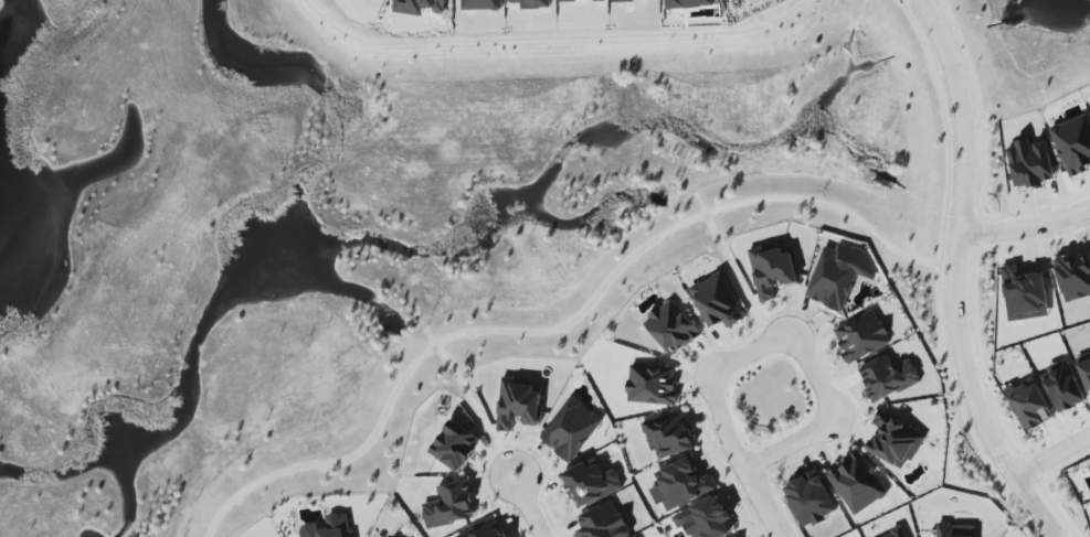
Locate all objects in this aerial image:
building: (575, 0)
building: (622, 0)
building: (532, 3)
building: (687, 3)
building: (481, 4)
building: (419, 7)
road: (553, 39)
building: (1030, 163)
road: (1027, 225)
building: (772, 270)
building: (838, 275)
road: (940, 276)
building: (1073, 276)
road: (738, 277)
road: (956, 277)
building: (717, 301)
road: (559, 326)
building: (671, 327)
road: (791, 336)
building: (861, 336)
road: (791, 359)
building: (1084, 367)
building: (888, 377)
building: (652, 385)
building: (518, 402)
building: (1029, 404)
road: (476, 410)
building: (570, 429)
building: (668, 434)
building: (895, 440)
building: (454, 445)
road: (1051, 451)
road: (753, 453)
building: (1089, 464)
road: (1002, 470)
building: (856, 482)
building: (590, 483)
building: (680, 484)
building: (809, 498)
road: (760, 503)
building: (449, 505)
road: (526, 507)
building: (603, 522)
building: (328, 527)
building: (484, 529)
building: (955, 530)
building: (897, 534)
building: (738, 536)

